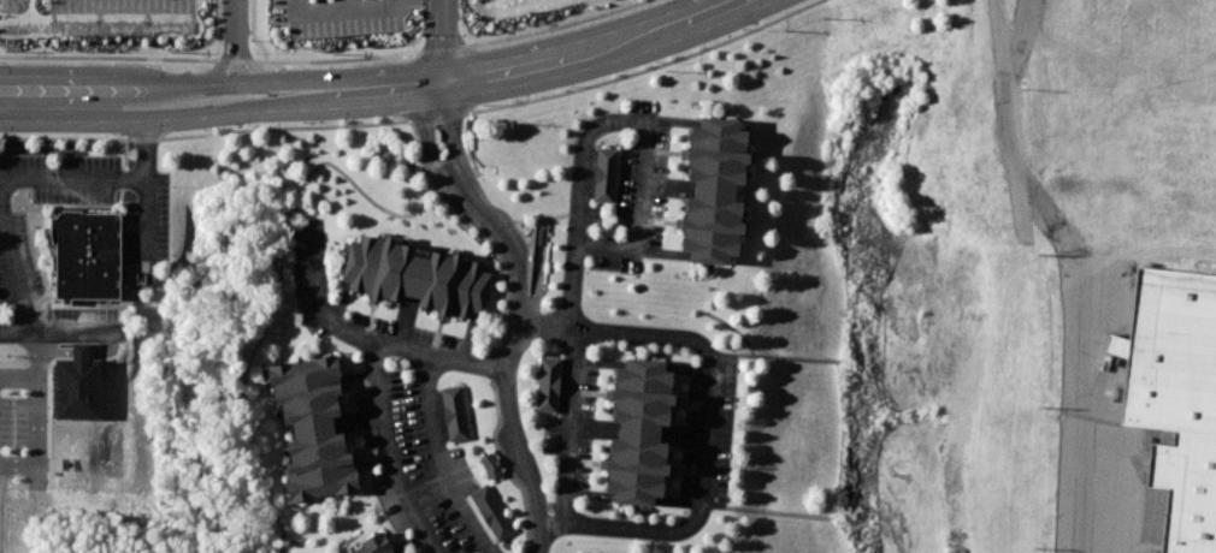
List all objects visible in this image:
road: (346, 5)
parking lot: (120, 6)
road: (342, 10)
parking lot: (333, 16)
road: (234, 19)
road: (438, 41)
road: (600, 55)
road: (218, 61)
road: (246, 64)
road: (228, 82)
road: (65, 84)
road: (380, 88)
road: (163, 118)
building: (604, 173)
road: (1, 188)
building: (722, 190)
road: (146, 196)
road: (579, 215)
parking lot: (144, 246)
building: (85, 254)
road: (1075, 264)
road: (277, 274)
building: (418, 278)
road: (514, 305)
road: (63, 332)
road: (367, 344)
building: (1170, 352)
building: (77, 383)
building: (548, 383)
road: (16, 394)
building: (454, 412)
road: (713, 417)
building: (317, 427)
building: (647, 429)
road: (391, 453)
road: (442, 460)
building: (490, 464)
building: (1187, 490)
building: (491, 512)
building: (376, 547)

